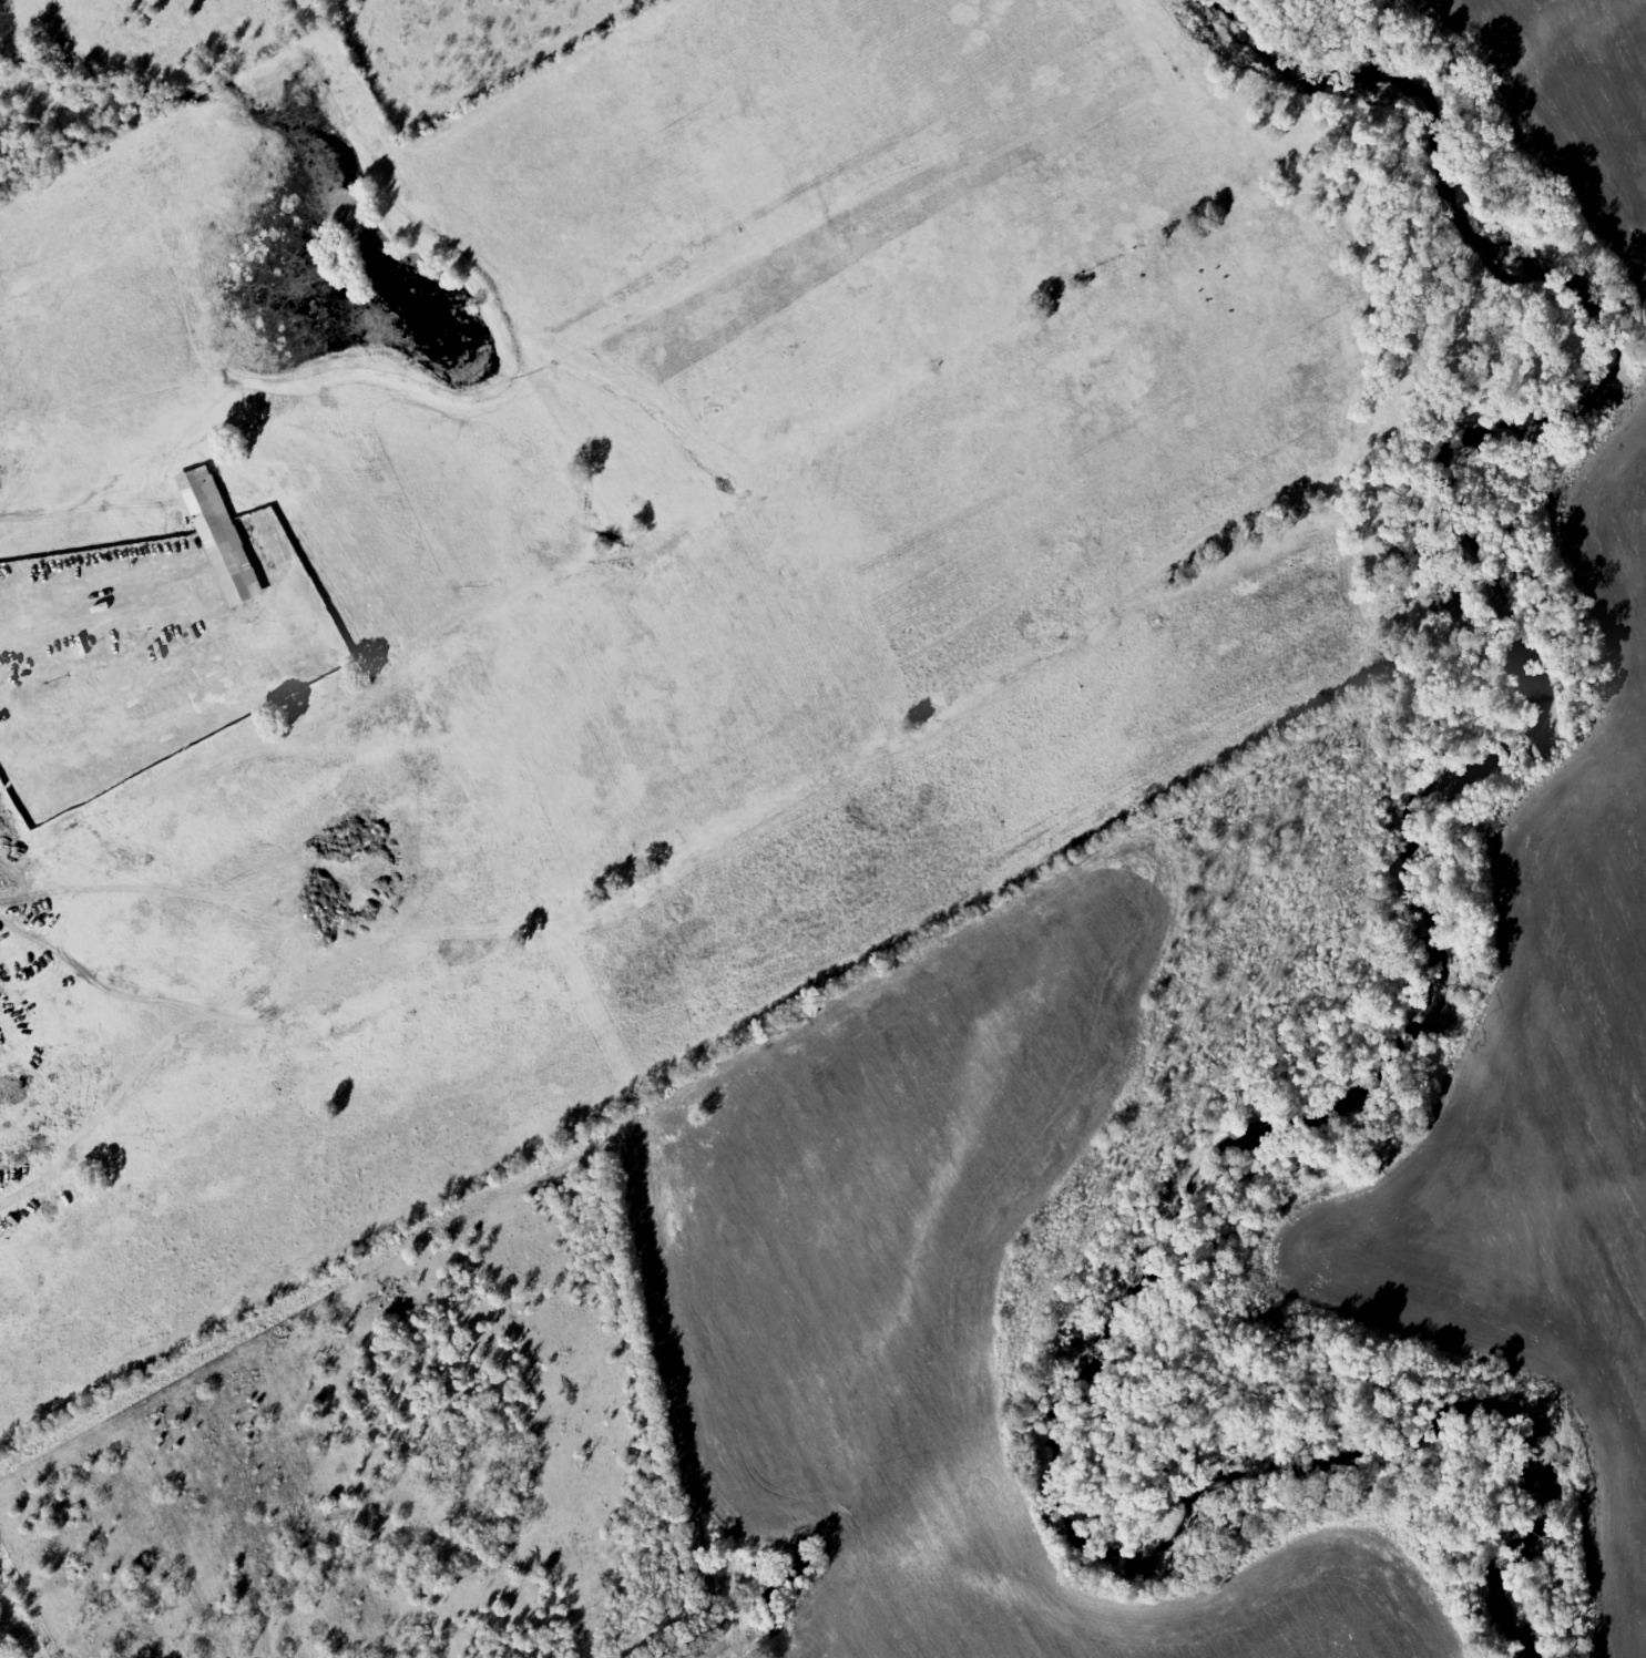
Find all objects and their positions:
building: (218, 535)

